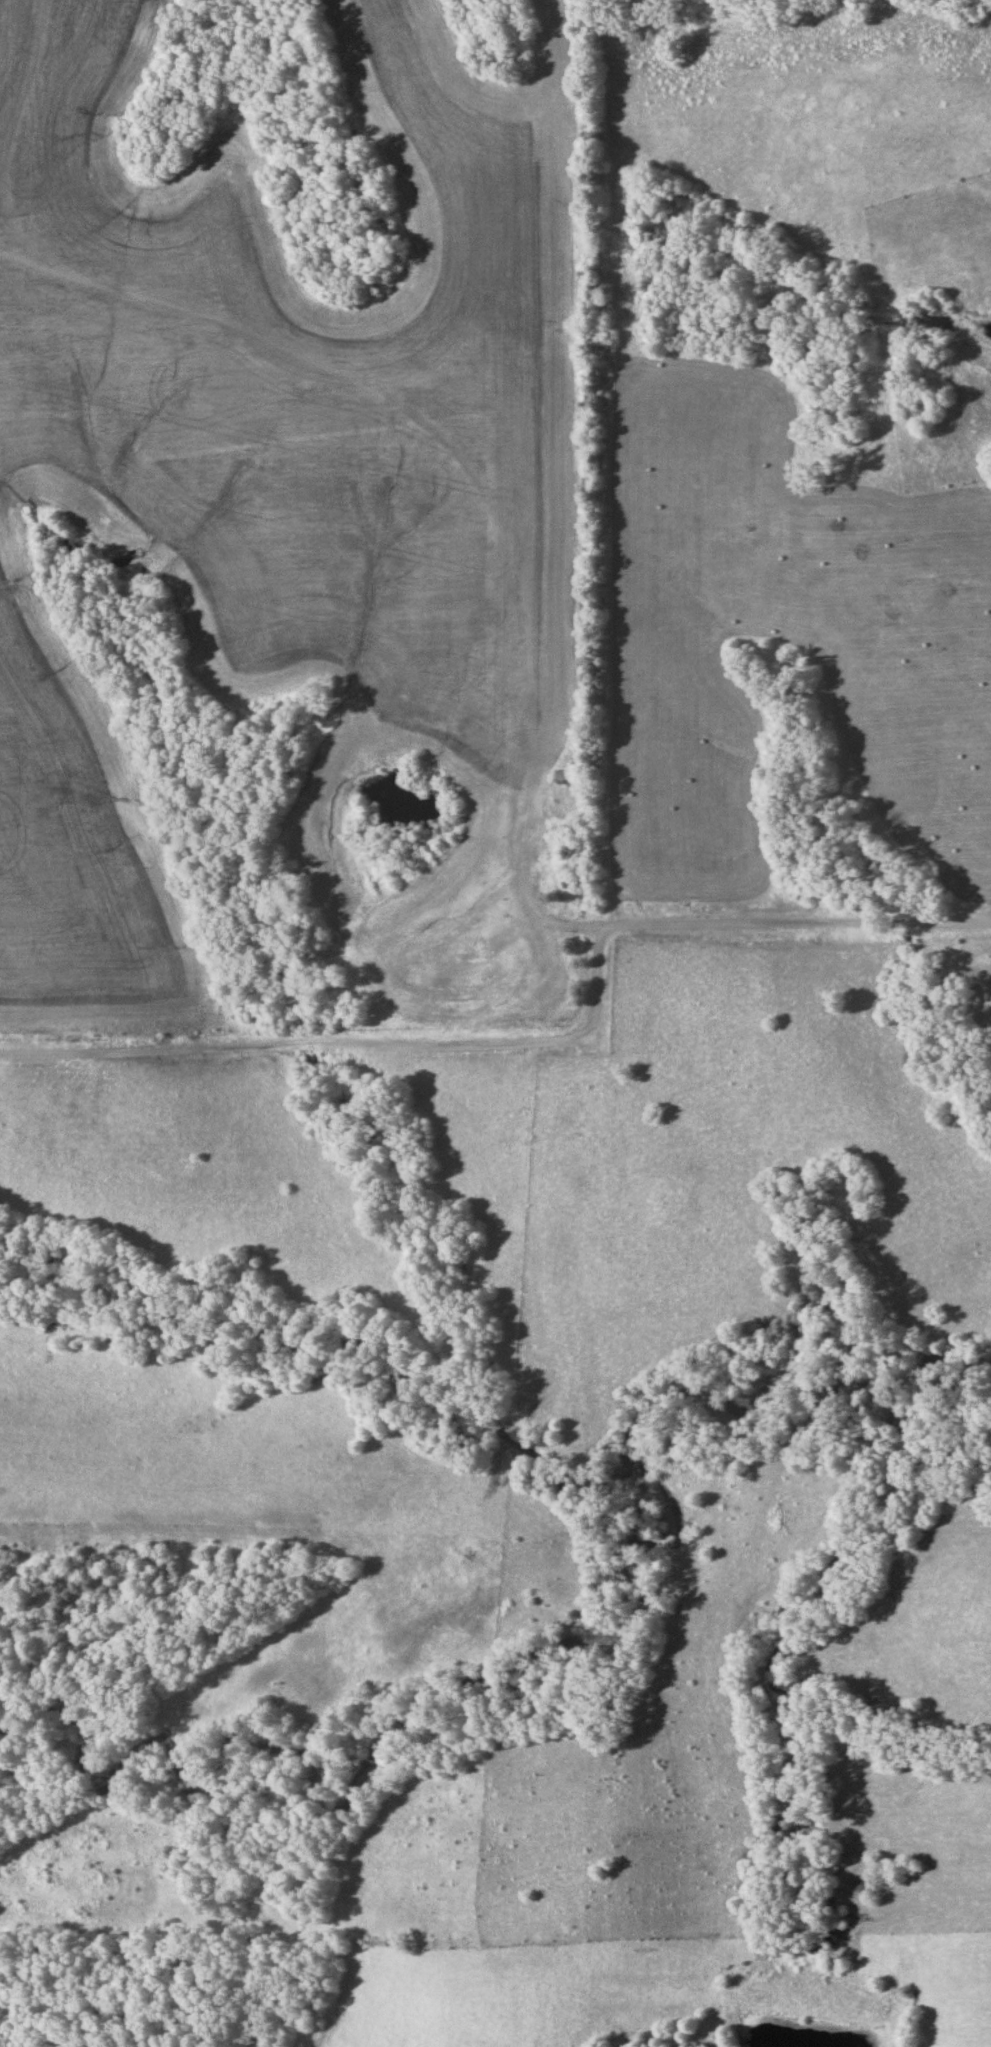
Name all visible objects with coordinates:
building: (582, 879)
road: (539, 1042)

